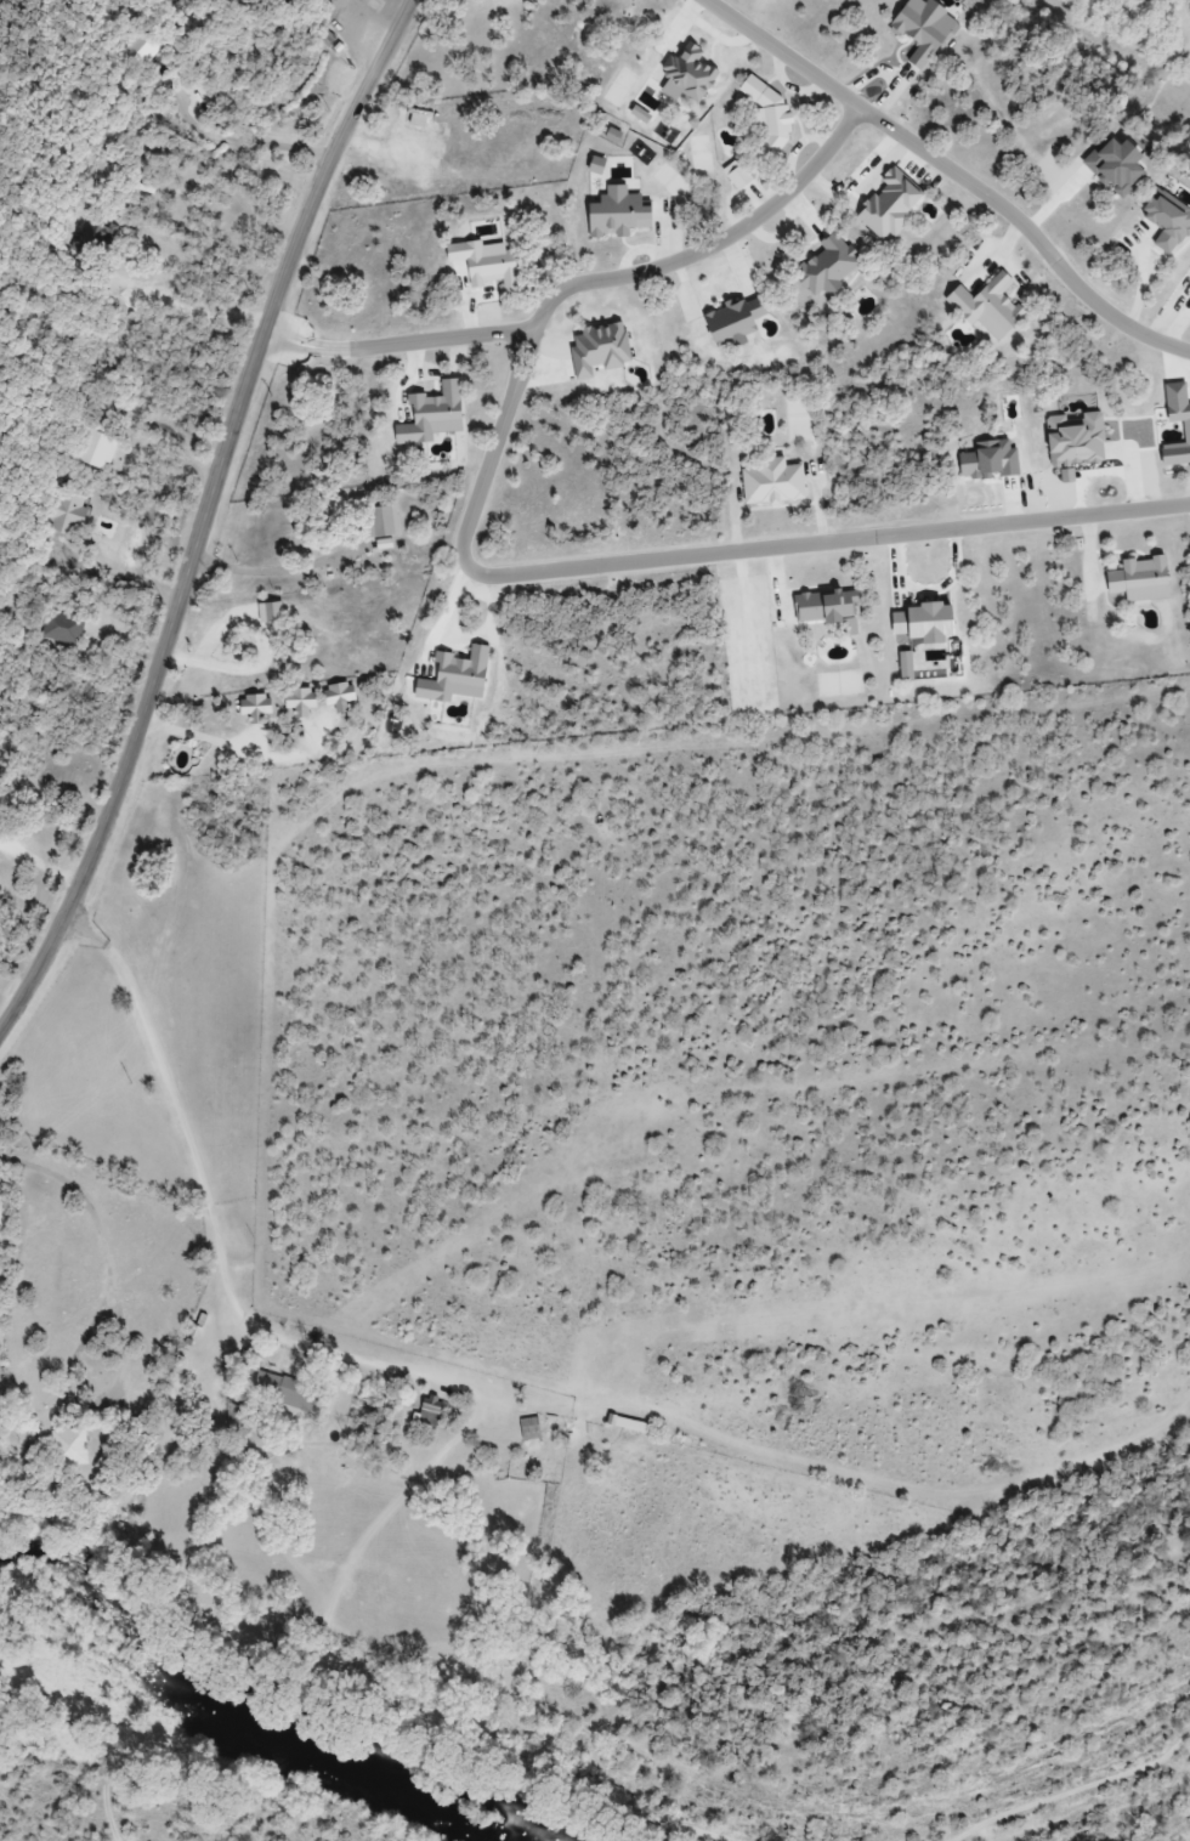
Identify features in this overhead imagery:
building: (142, 47)
building: (543, 135)
road: (953, 171)
building: (97, 239)
road: (590, 283)
road: (401, 344)
building: (100, 449)
road: (210, 521)
building: (385, 525)
road: (829, 543)
building: (1137, 579)
building: (63, 628)
building: (346, 697)
building: (305, 703)
building: (261, 708)
road: (234, 1281)
building: (432, 1412)
building: (633, 1424)
river: (234, 1722)

